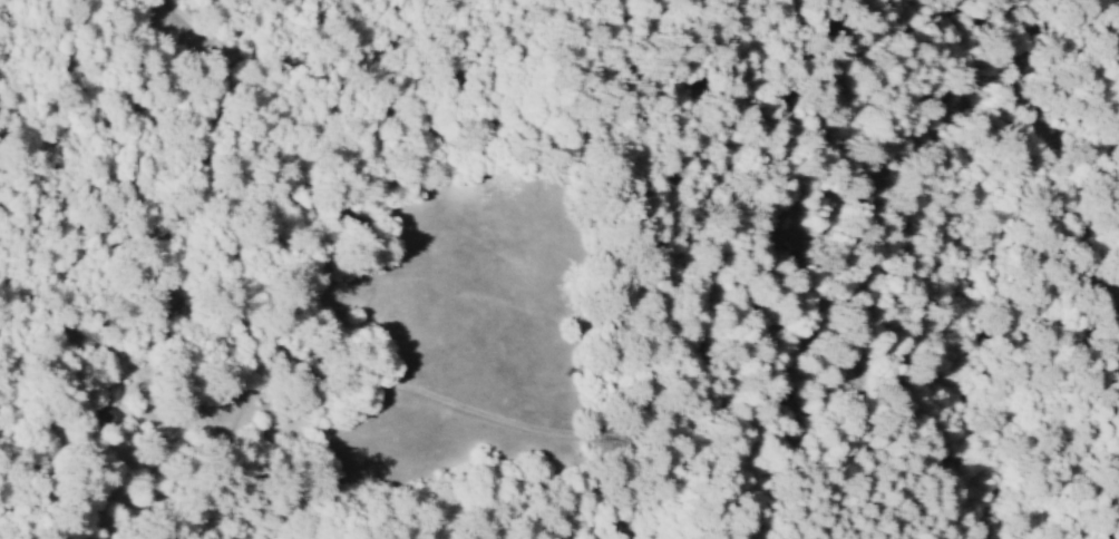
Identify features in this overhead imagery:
road: (1117, 313)

